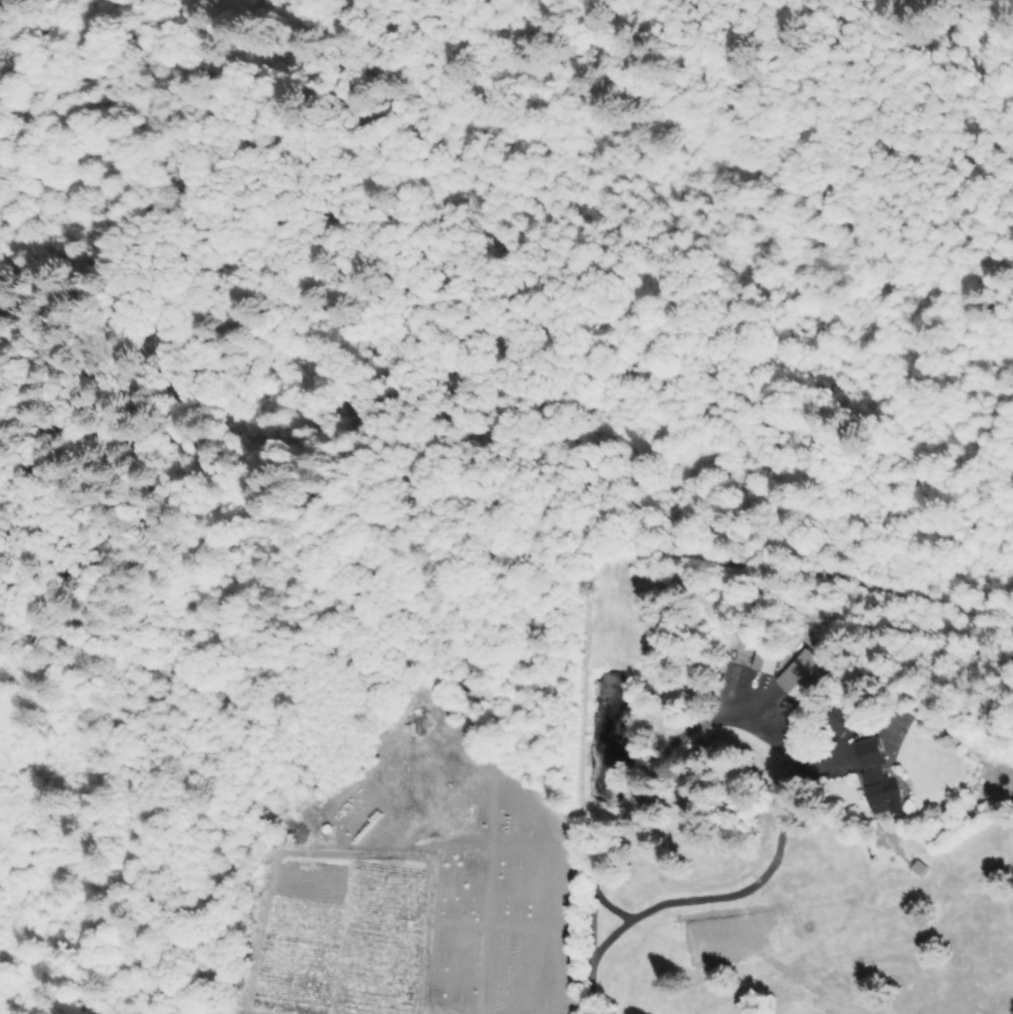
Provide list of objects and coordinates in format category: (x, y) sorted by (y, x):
building: (807, 682)
building: (884, 794)
road: (684, 894)

